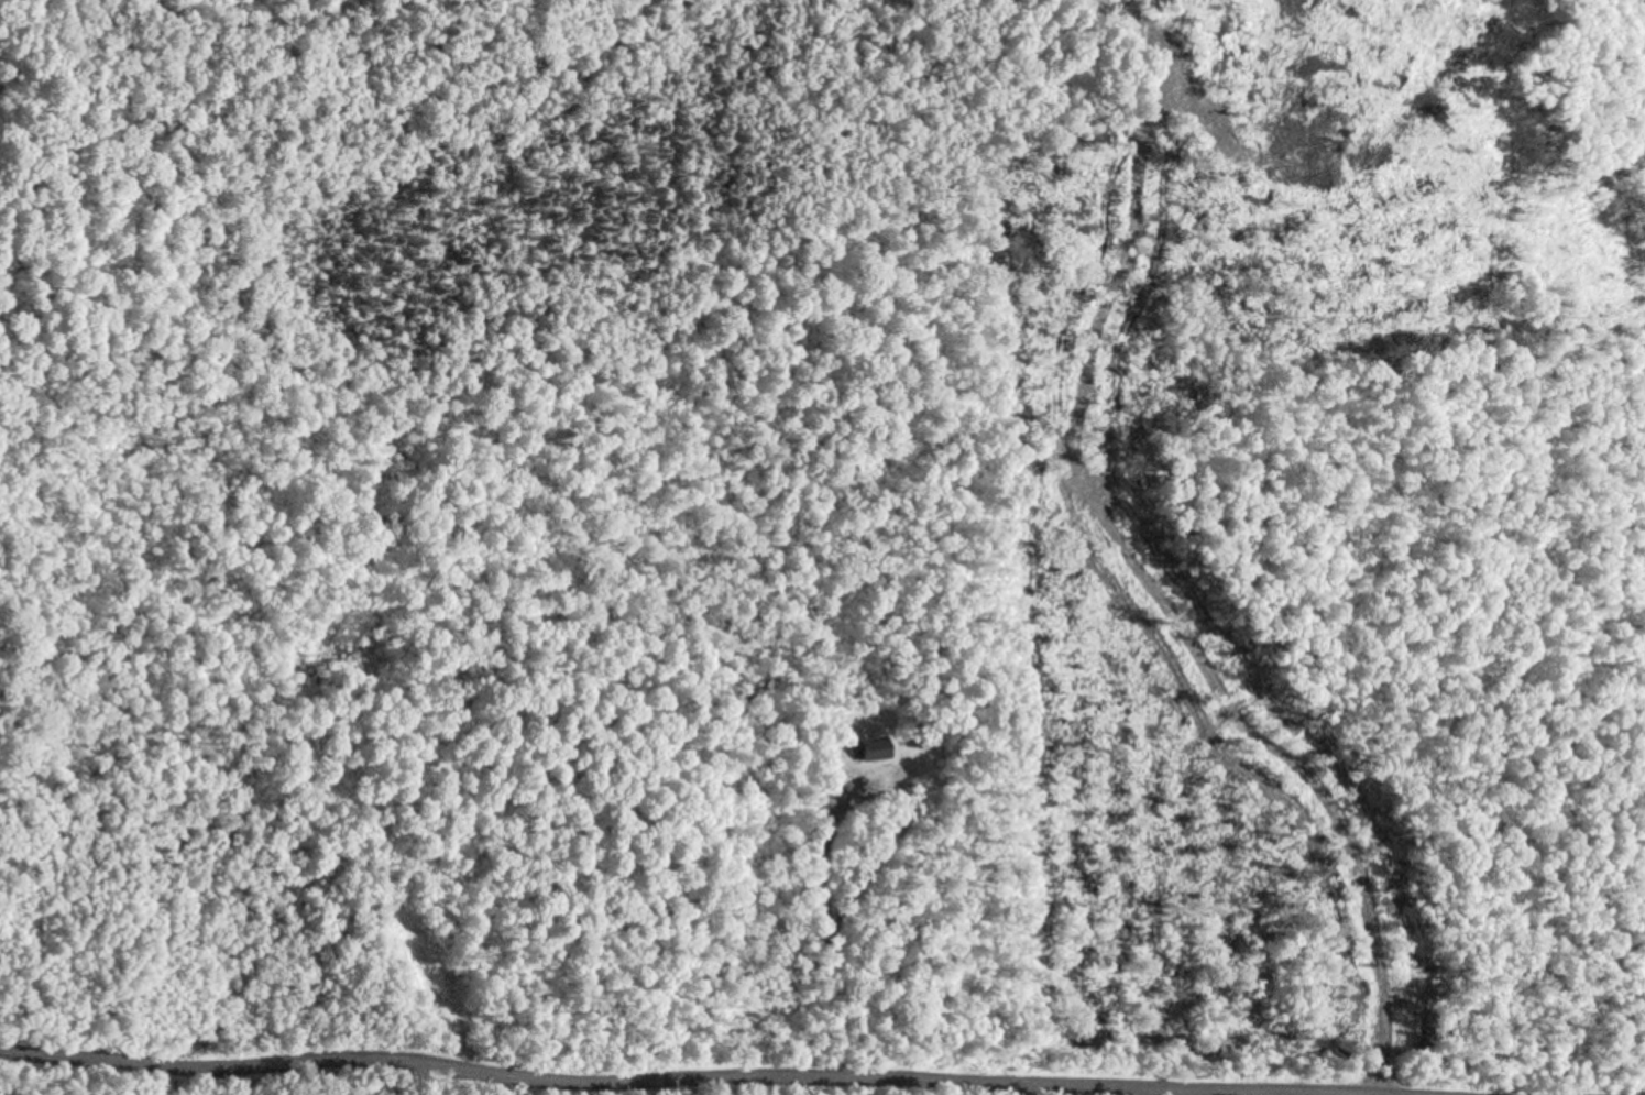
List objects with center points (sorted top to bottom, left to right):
building: (873, 747)
road: (637, 1073)

